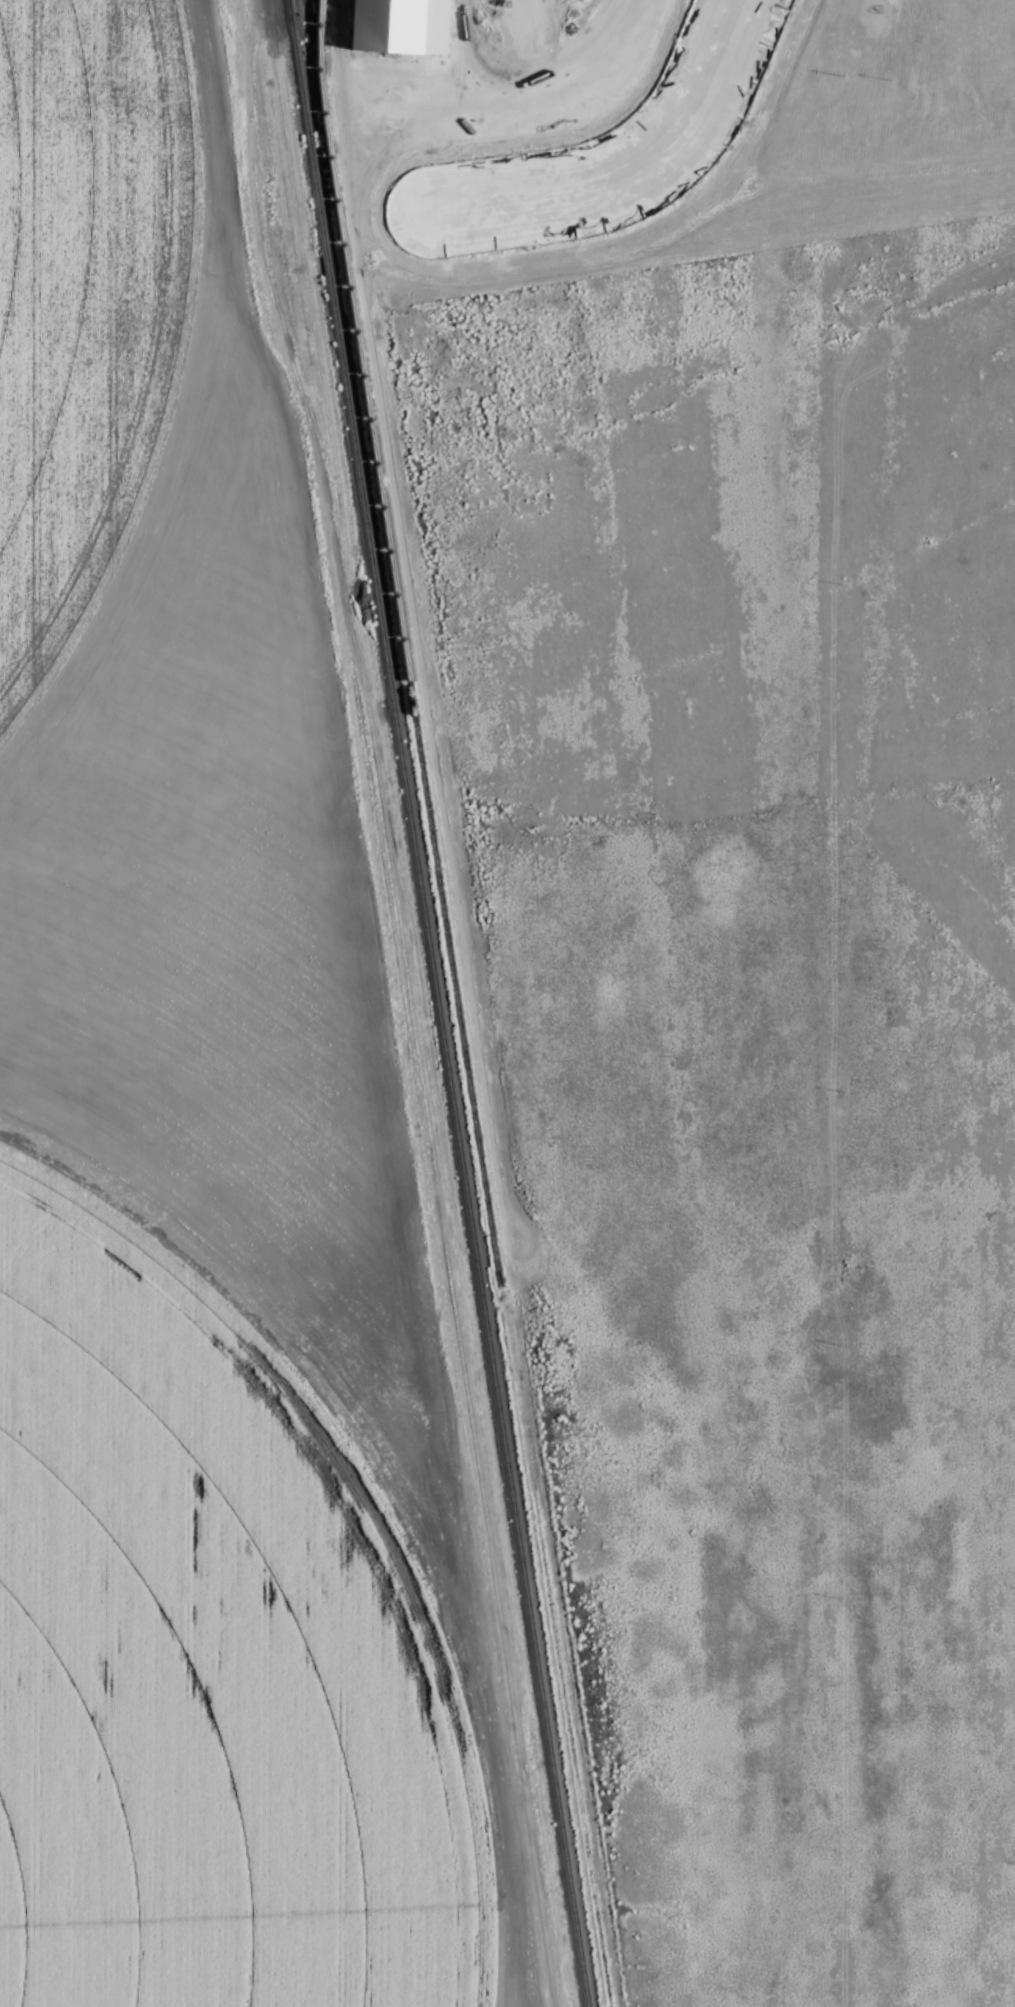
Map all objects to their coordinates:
railway: (286, 3)
railway: (316, 48)
railway: (401, 644)
railway: (435, 1003)

